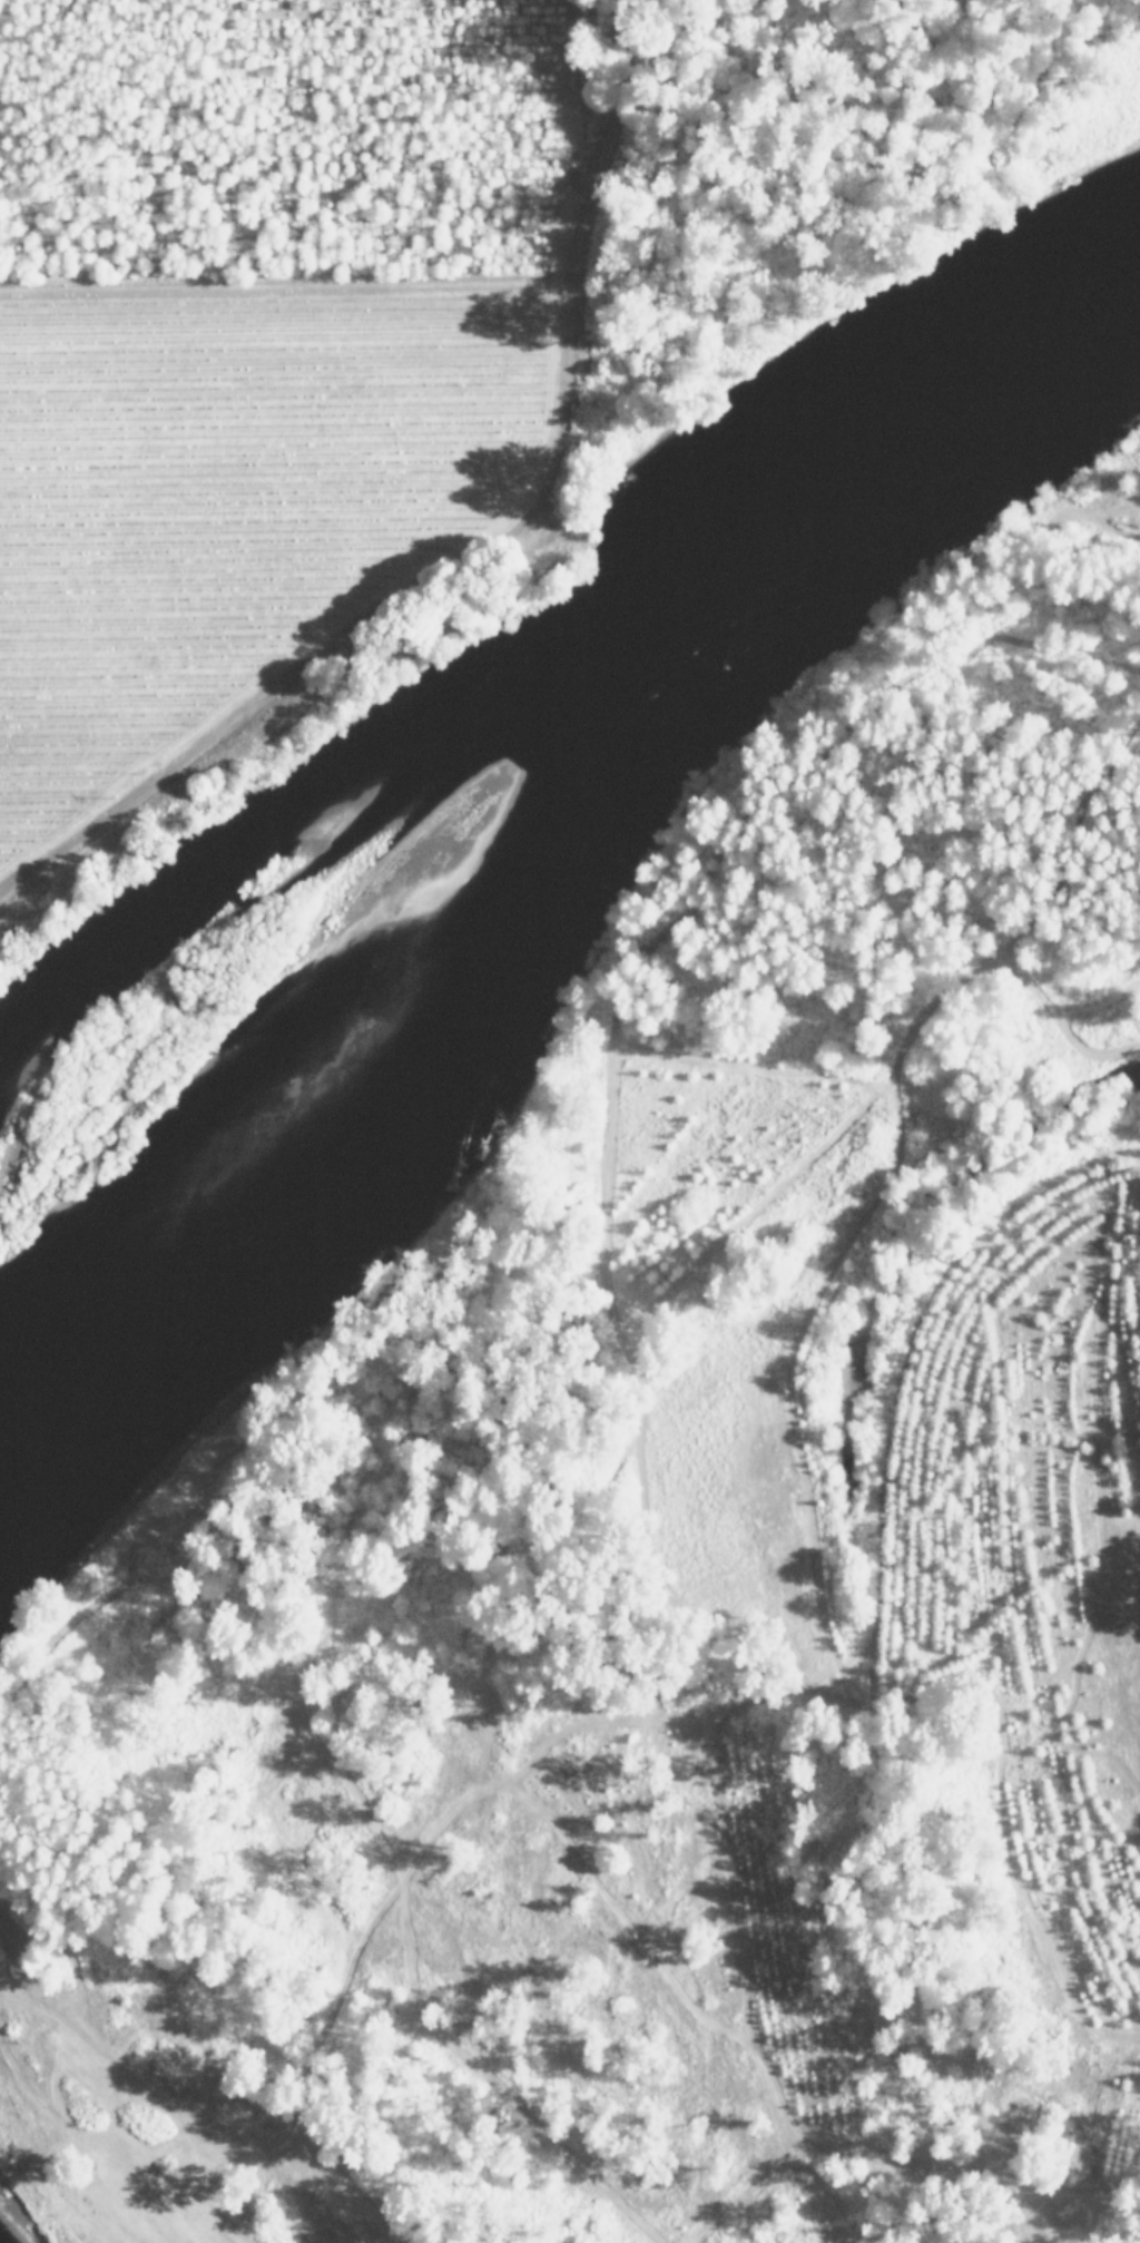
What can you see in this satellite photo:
road: (99, 323)
crop: (247, 351)
river: (520, 834)

